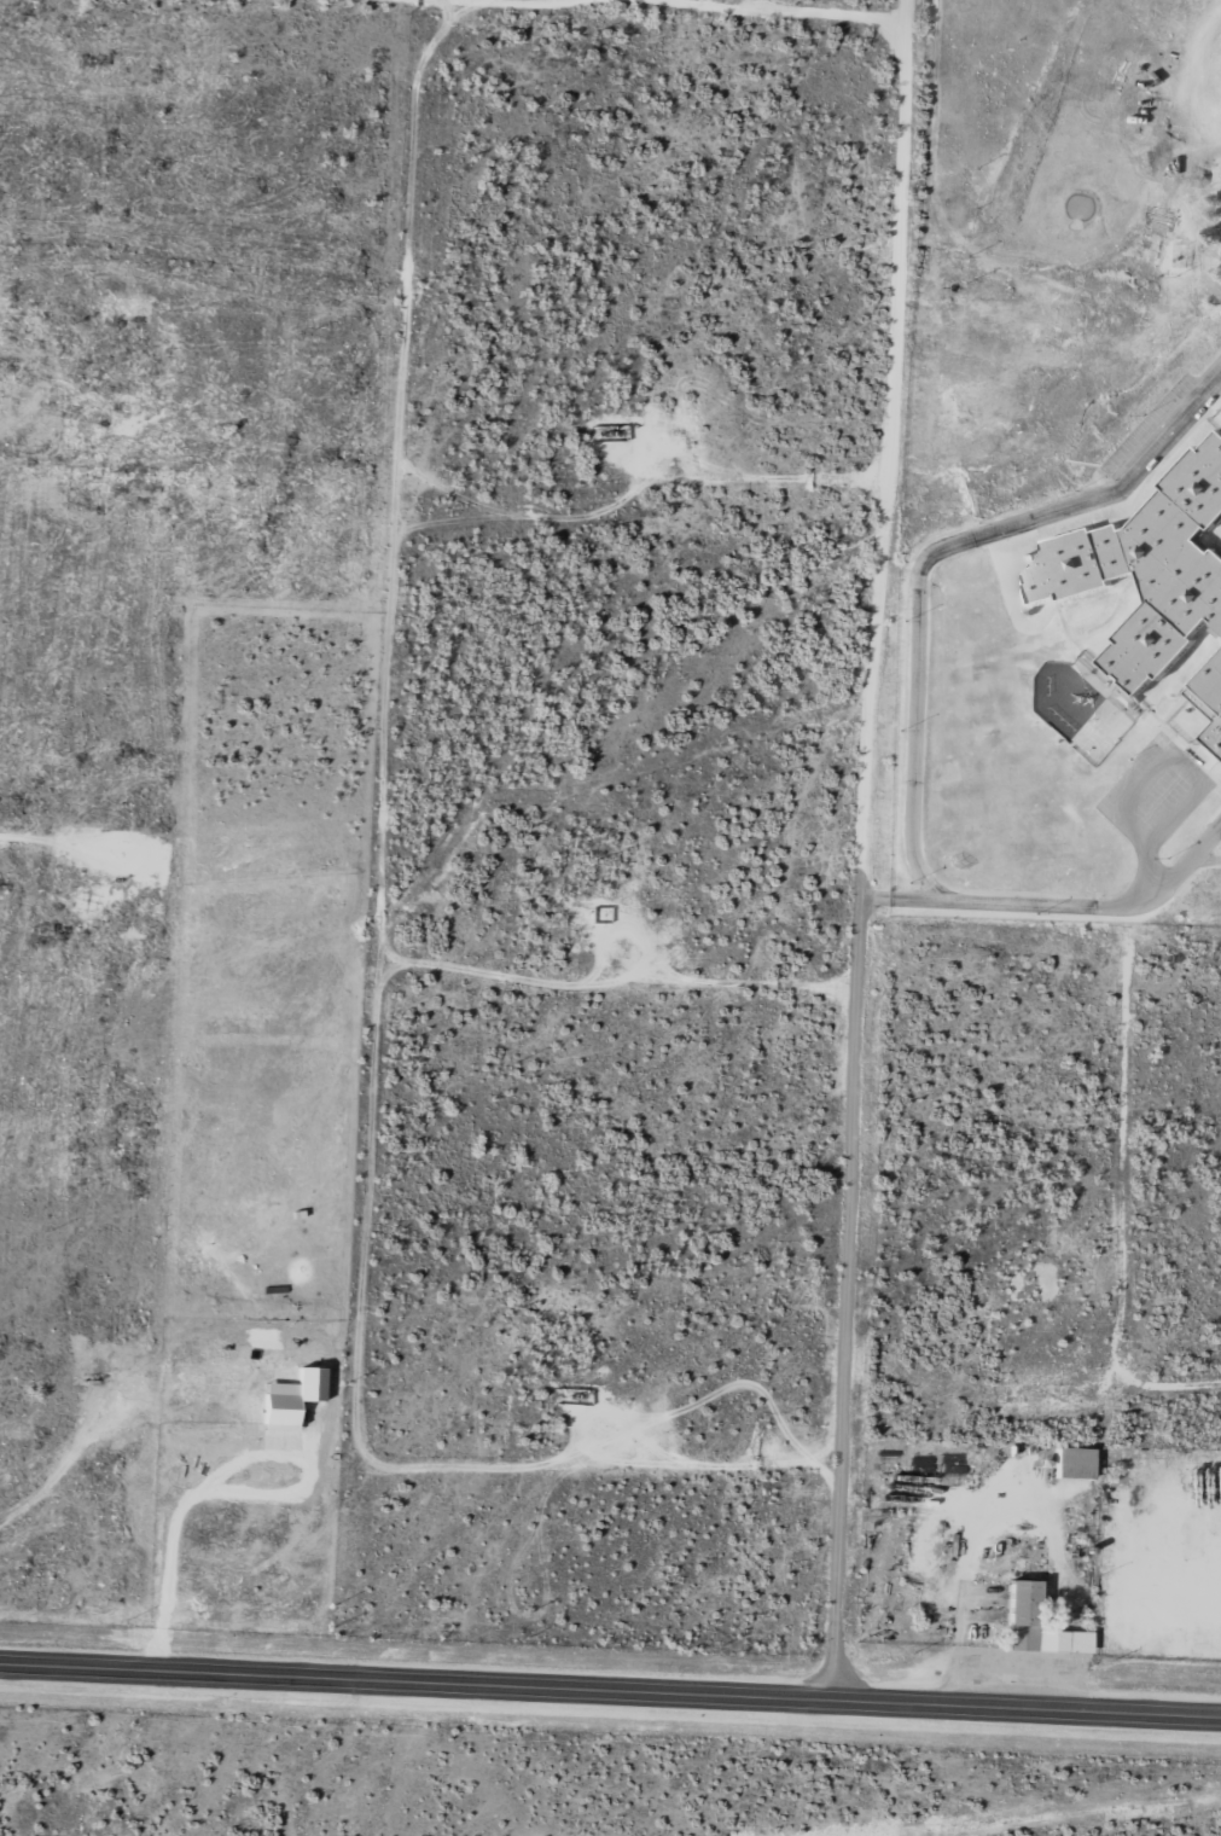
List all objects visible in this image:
road: (914, 704)
road: (878, 854)
road: (1207, 860)
road: (912, 897)
building: (1075, 1463)
road: (225, 1475)
building: (1028, 1620)
road: (610, 1696)

